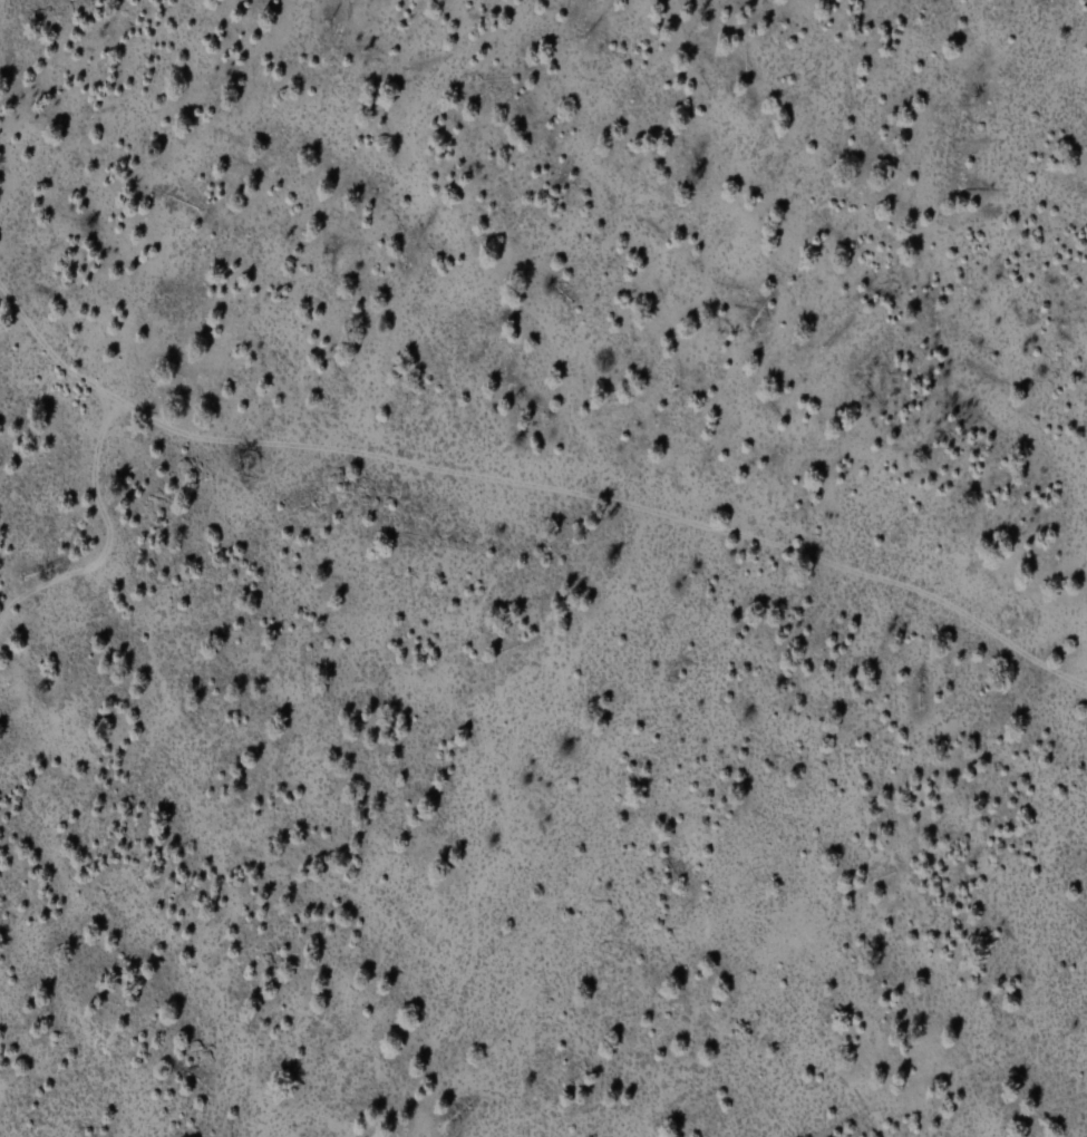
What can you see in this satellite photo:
road: (113, 336)
road: (533, 488)
road: (381, 1134)

